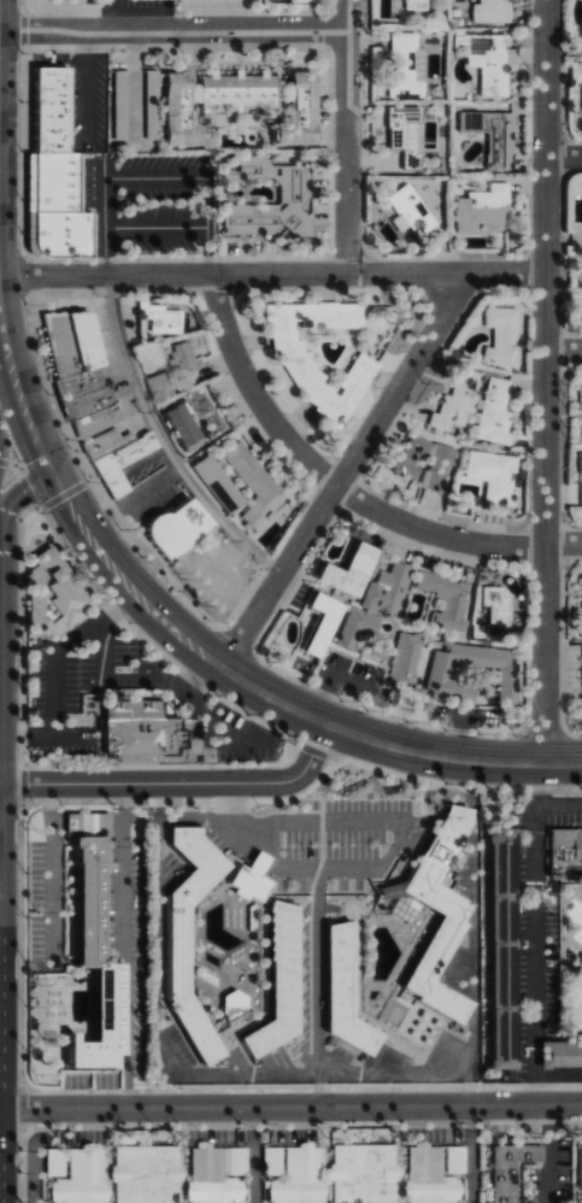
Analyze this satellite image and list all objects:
building: (415, 5)
building: (488, 11)
road: (110, 16)
road: (165, 16)
road: (172, 31)
building: (402, 66)
building: (235, 89)
building: (581, 106)
building: (48, 110)
building: (294, 112)
building: (174, 113)
building: (404, 134)
road: (346, 136)
road: (563, 154)
road: (155, 178)
building: (57, 207)
building: (478, 209)
building: (410, 210)
road: (155, 228)
building: (393, 229)
road: (271, 274)
building: (160, 317)
building: (499, 336)
building: (70, 342)
road: (563, 352)
building: (178, 357)
building: (302, 375)
building: (155, 380)
road: (545, 381)
building: (77, 383)
building: (578, 398)
building: (453, 400)
building: (84, 403)
building: (492, 413)
building: (93, 421)
building: (175, 421)
building: (211, 423)
road: (2, 442)
building: (102, 442)
road: (163, 442)
building: (408, 454)
building: (119, 462)
building: (580, 464)
building: (437, 470)
road: (342, 473)
building: (490, 474)
building: (249, 481)
building: (213, 482)
road: (340, 487)
road: (22, 492)
building: (172, 529)
building: (346, 571)
building: (202, 580)
building: (384, 587)
building: (51, 595)
building: (581, 597)
building: (442, 599)
building: (490, 606)
building: (314, 620)
building: (353, 627)
building: (401, 661)
road: (213, 664)
building: (436, 679)
building: (145, 734)
road: (310, 771)
road: (127, 784)
road: (557, 806)
road: (341, 810)
building: (563, 847)
building: (246, 880)
building: (86, 881)
building: (436, 915)
road: (535, 937)
building: (500, 947)
building: (175, 951)
building: (278, 982)
road: (313, 992)
building: (337, 992)
road: (474, 993)
building: (99, 1023)
building: (559, 1055)
road: (468, 1088)
road: (290, 1108)
road: (251, 1155)
road: (469, 1155)
road: (549, 1155)
building: (511, 1158)
building: (270, 1161)
building: (363, 1173)
building: (433, 1173)
building: (578, 1173)
building: (145, 1174)
building: (214, 1174)
building: (80, 1176)
building: (296, 1176)
road: (25, 1185)

